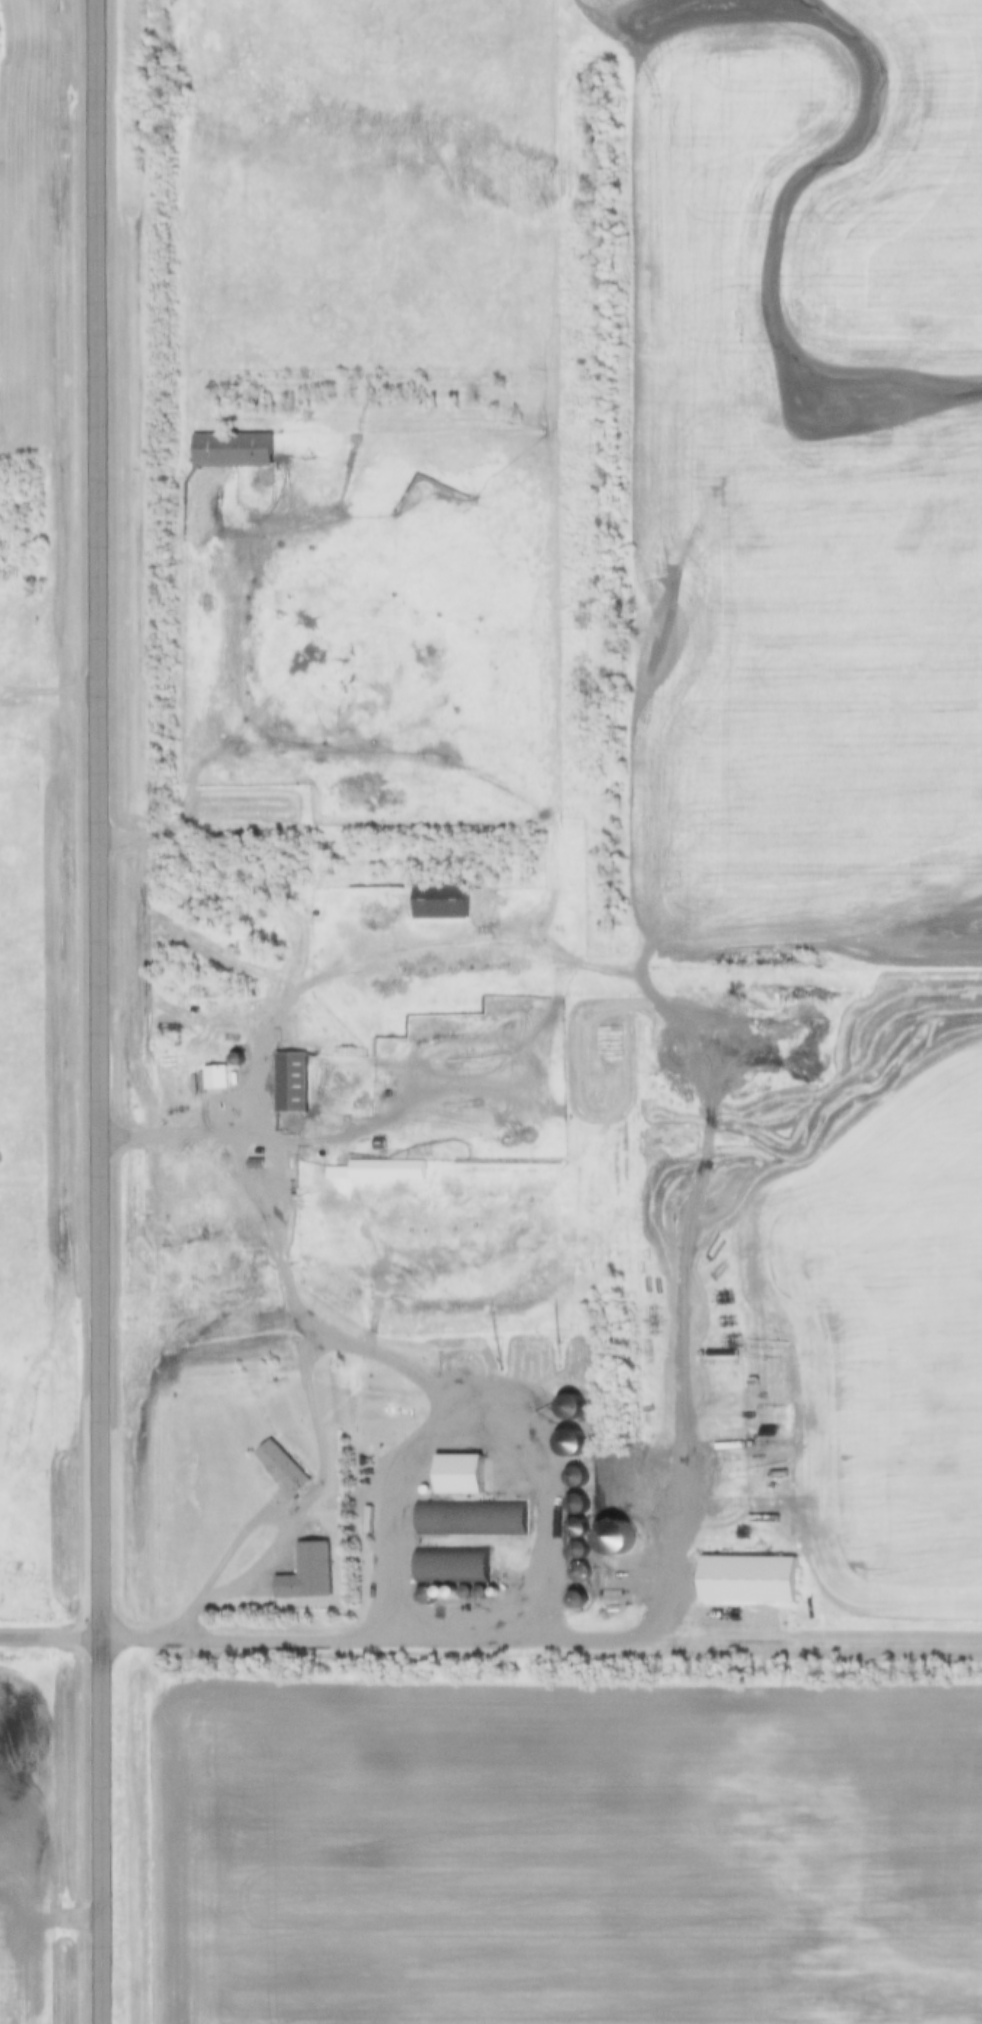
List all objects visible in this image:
building: (229, 448)
road: (51, 693)
road: (185, 833)
building: (437, 900)
building: (692, 983)
road: (658, 1002)
road: (103, 1011)
building: (387, 1047)
building: (214, 1079)
building: (289, 1082)
building: (381, 1170)
road: (382, 1360)
road: (313, 1404)
building: (564, 1406)
road: (481, 1408)
building: (279, 1471)
building: (454, 1473)
building: (571, 1475)
building: (468, 1519)
road: (240, 1541)
building: (574, 1551)
building: (447, 1564)
building: (304, 1573)
building: (576, 1573)
building: (744, 1579)
building: (420, 1595)
building: (442, 1595)
road: (52, 1639)
road: (755, 1640)
road: (317, 1641)

